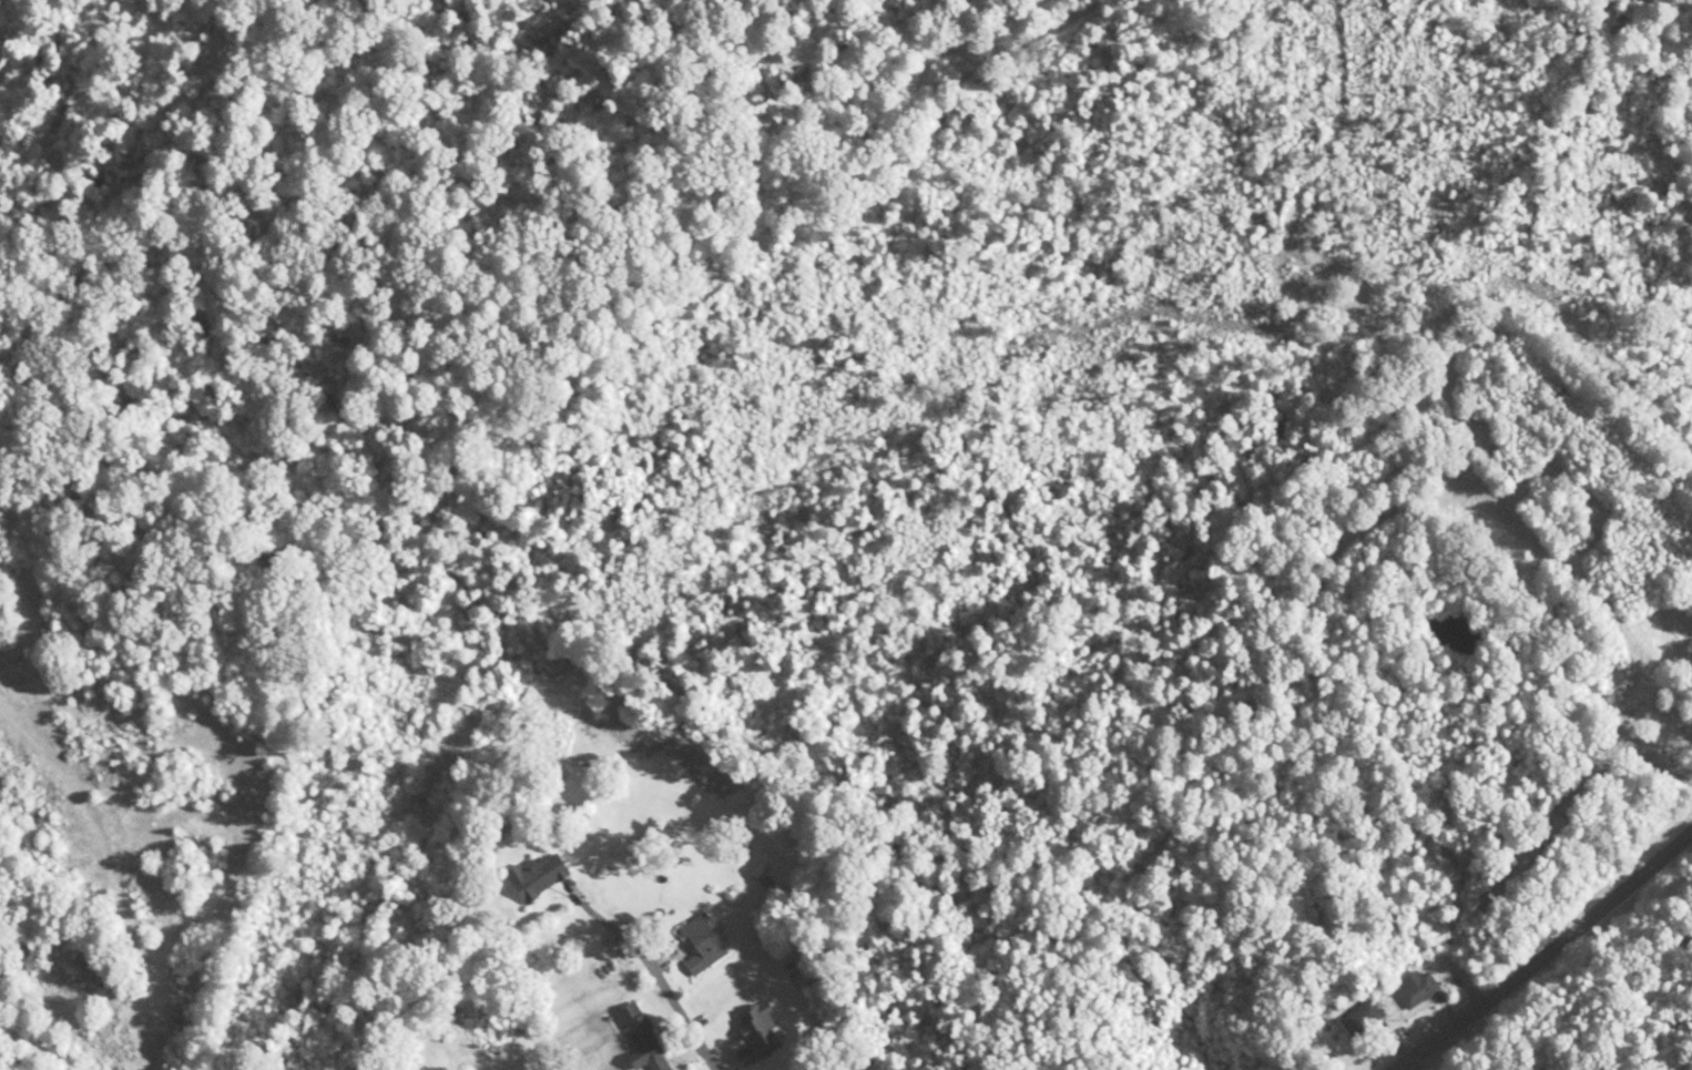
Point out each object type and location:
building: (1617, 690)
building: (538, 875)
building: (702, 944)
road: (1531, 948)
road: (652, 978)
building: (1415, 988)
building: (1359, 1018)
building: (641, 1037)

